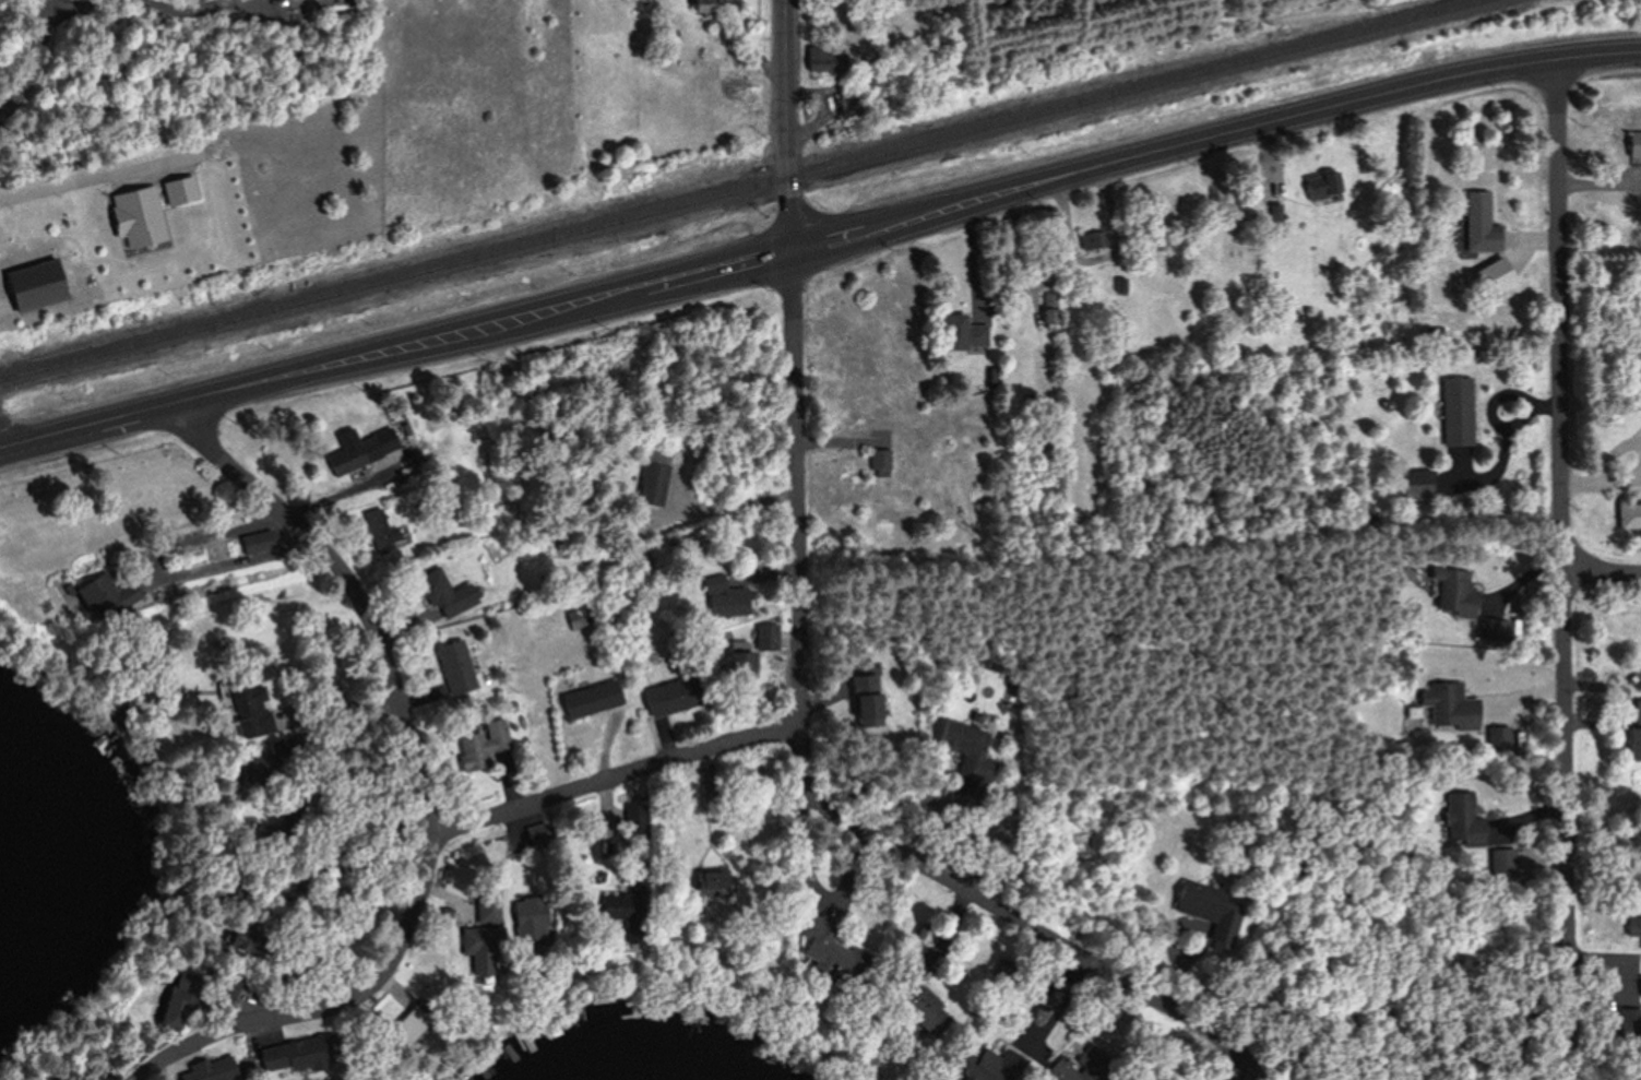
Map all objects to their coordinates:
building: (703, 7)
building: (827, 59)
road: (33, 60)
building: (833, 129)
building: (1633, 150)
road: (75, 178)
building: (1323, 187)
railway: (744, 188)
building: (1478, 224)
road: (819, 240)
building: (1094, 240)
building: (1491, 277)
building: (32, 285)
building: (958, 332)
road: (793, 363)
building: (1455, 412)
road: (0, 444)
building: (361, 451)
building: (880, 464)
building: (654, 479)
building: (1629, 514)
building: (255, 542)
road: (1562, 568)
road: (1602, 571)
road: (168, 572)
building: (1453, 591)
building: (444, 593)
building: (716, 594)
building: (96, 595)
building: (454, 667)
building: (738, 667)
building: (668, 698)
building: (588, 699)
building: (1448, 708)
building: (866, 710)
building: (248, 712)
building: (1633, 737)
building: (959, 739)
building: (480, 745)
road: (611, 770)
road: (420, 784)
building: (632, 822)
building: (704, 883)
building: (1208, 910)
road: (1013, 915)
building: (1632, 927)
building: (816, 936)
building: (242, 941)
building: (476, 948)
building: (224, 983)
building: (1639, 985)
building: (901, 989)
building: (177, 1005)
building: (402, 1026)
building: (292, 1054)
building: (994, 1065)
building: (209, 1069)

